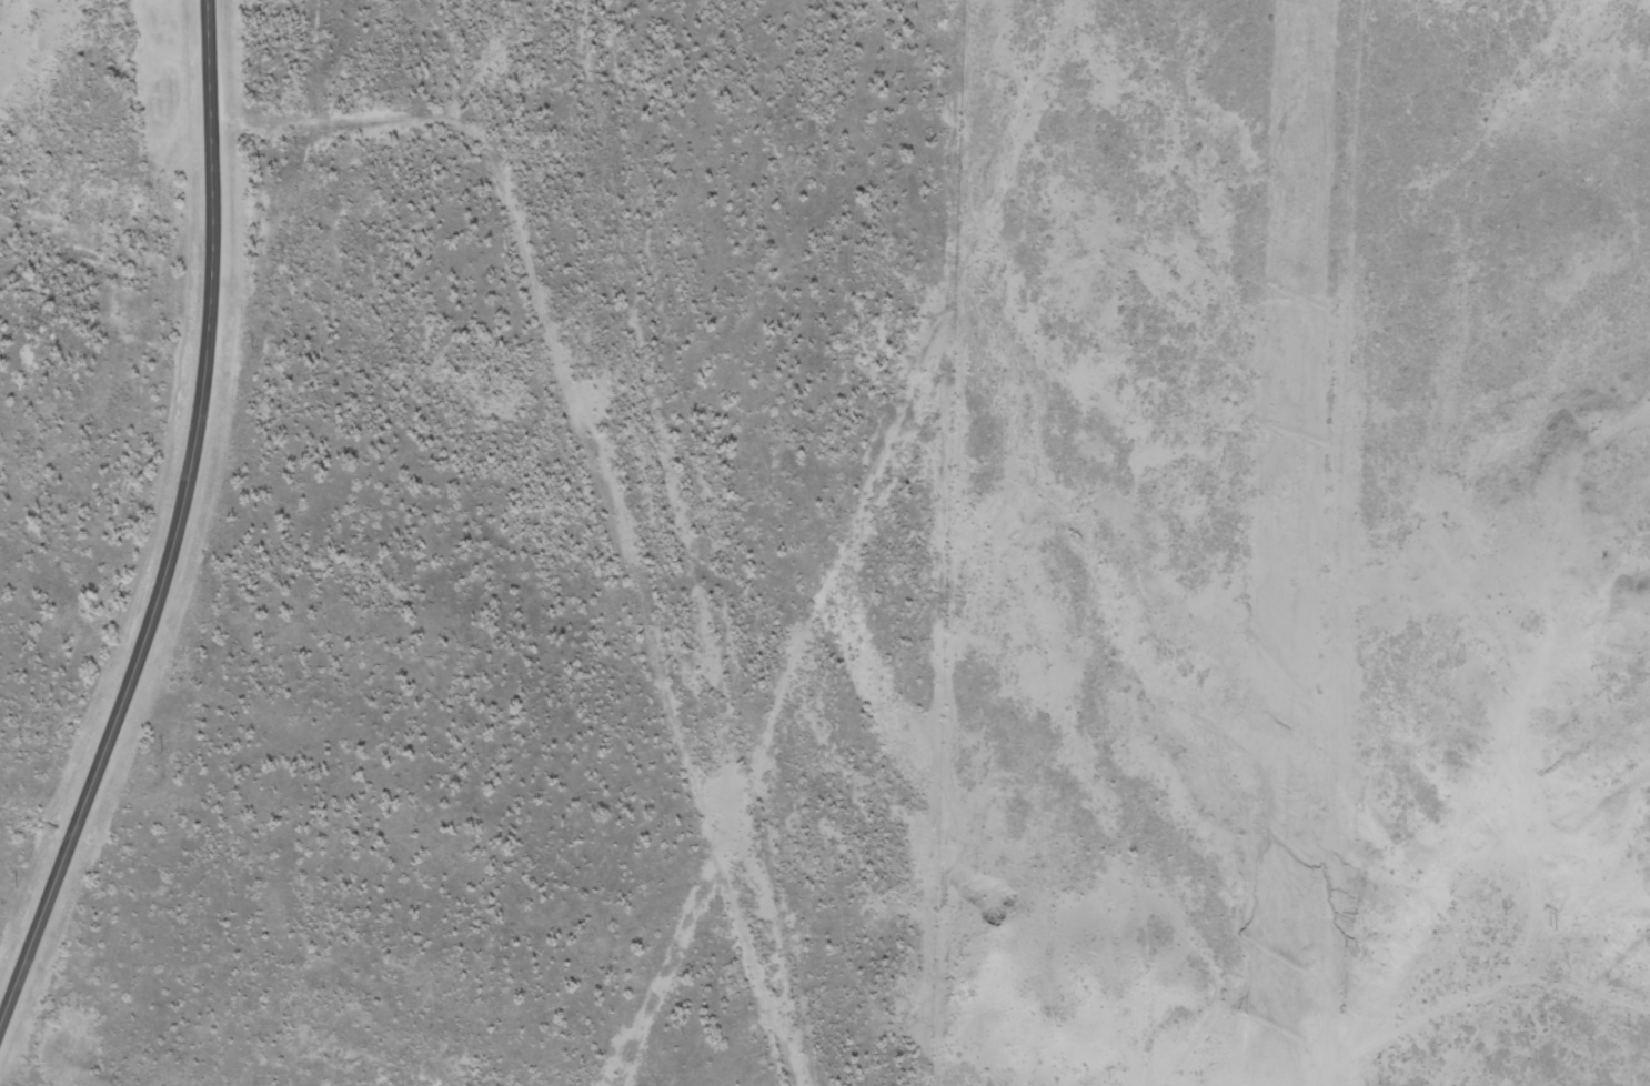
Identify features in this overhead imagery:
road: (168, 6)
road: (24, 17)
road: (449, 81)
road: (172, 517)
road: (1349, 533)
road: (561, 535)
power tower: (1549, 925)
road: (1542, 1012)

